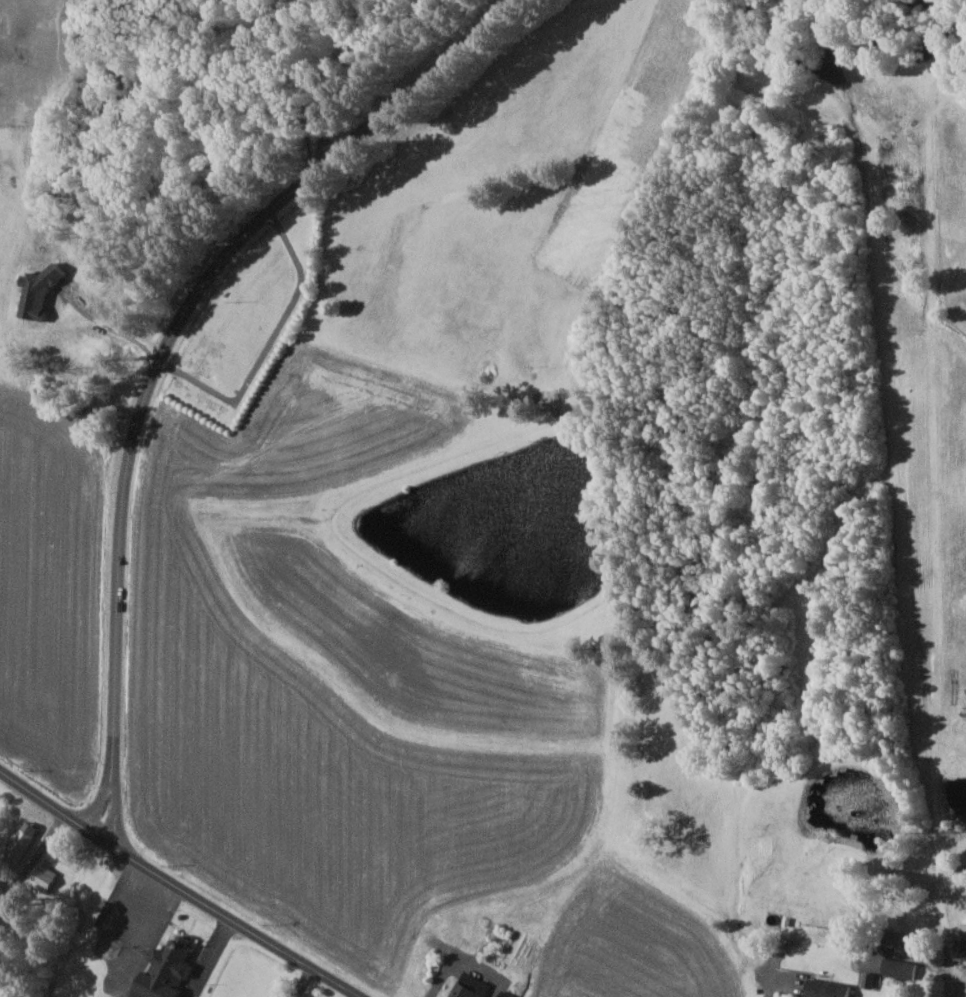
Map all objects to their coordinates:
building: (40, 293)
road: (112, 330)
road: (268, 346)
road: (169, 348)
building: (25, 840)
building: (46, 878)
road: (186, 884)
building: (965, 933)
road: (793, 945)
building: (962, 949)
building: (902, 968)
building: (169, 970)
building: (831, 989)
building: (467, 991)
building: (508, 994)
building: (307, 996)

